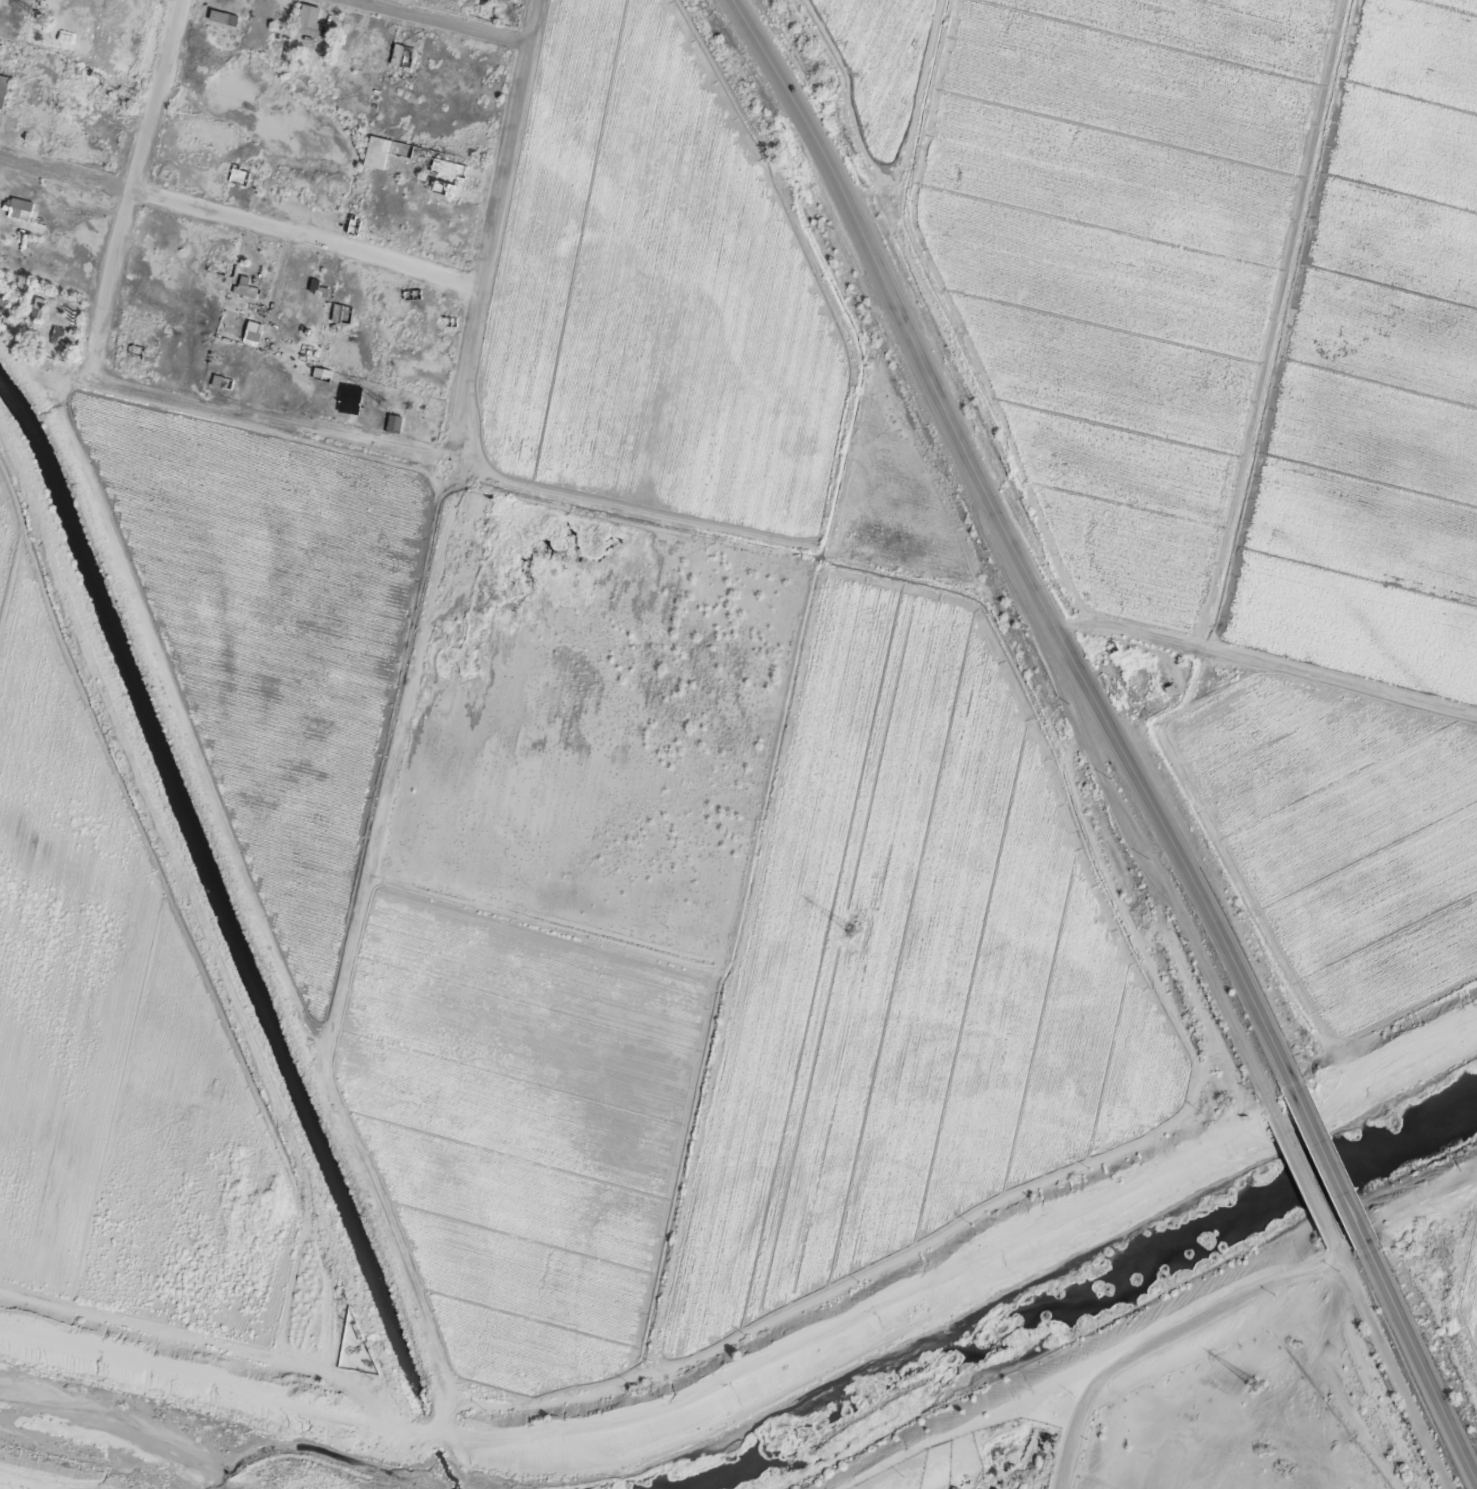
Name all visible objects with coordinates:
road: (418, 23)
road: (124, 179)
road: (483, 236)
road: (1004, 552)
road: (957, 595)
road: (1160, 914)
road: (1410, 1361)

